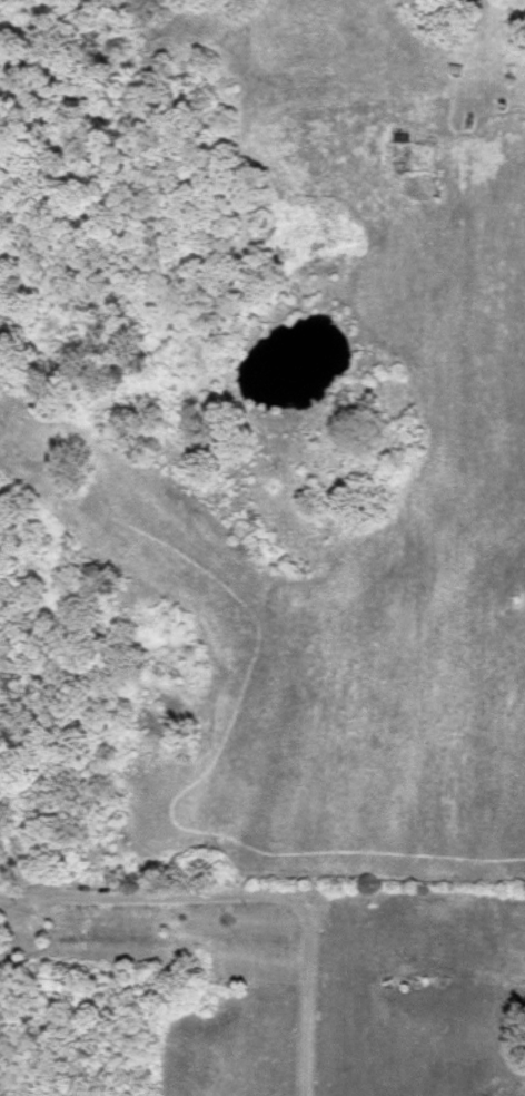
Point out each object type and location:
road: (244, 893)

